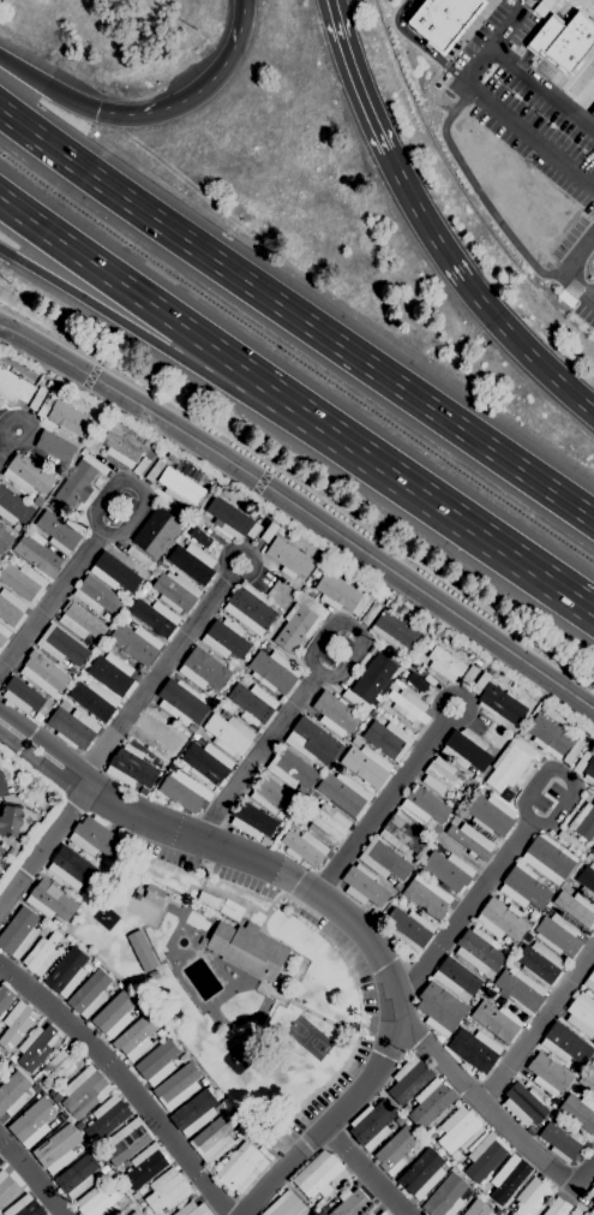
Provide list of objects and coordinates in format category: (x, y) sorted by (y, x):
road: (492, 1)
road: (571, 1)
road: (570, 2)
road: (521, 5)
road: (523, 5)
building: (541, 6)
road: (584, 13)
road: (544, 14)
building: (440, 19)
road: (470, 30)
road: (541, 35)
building: (562, 40)
road: (420, 43)
road: (521, 59)
road: (443, 64)
road: (552, 66)
road: (577, 66)
road: (352, 77)
road: (47, 85)
road: (197, 89)
road: (541, 91)
road: (581, 100)
road: (491, 109)
traffic signals: (97, 111)
building: (592, 112)
gas station: (592, 112)
road: (478, 195)
road: (565, 267)
road: (119, 282)
road: (473, 294)
road: (295, 315)
road: (115, 317)
building: (13, 388)
building: (36, 398)
building: (44, 405)
building: (70, 418)
road: (8, 443)
building: (152, 446)
building: (53, 448)
building: (120, 448)
building: (173, 457)
building: (140, 465)
building: (58, 470)
building: (154, 470)
building: (28, 474)
building: (79, 481)
road: (132, 486)
road: (416, 486)
building: (180, 487)
building: (13, 506)
building: (53, 506)
road: (301, 511)
building: (228, 518)
building: (17, 528)
road: (300, 529)
building: (60, 530)
building: (253, 530)
building: (280, 530)
building: (156, 531)
building: (269, 531)
building: (198, 536)
building: (5, 538)
building: (37, 553)
building: (139, 558)
building: (288, 558)
building: (192, 561)
building: (162, 565)
building: (119, 570)
building: (22, 580)
building: (175, 591)
building: (341, 594)
building: (97, 596)
road: (49, 602)
building: (248, 607)
building: (11, 608)
building: (370, 612)
building: (154, 617)
building: (80, 621)
building: (299, 621)
building: (392, 630)
building: (4, 633)
building: (226, 639)
building: (134, 642)
building: (61, 645)
building: (445, 663)
building: (203, 669)
road: (157, 671)
building: (272, 671)
building: (42, 672)
building: (112, 673)
building: (468, 675)
building: (373, 677)
building: (416, 681)
building: (480, 681)
road: (302, 691)
building: (22, 695)
building: (94, 698)
building: (181, 702)
building: (252, 702)
building: (500, 703)
building: (408, 704)
building: (373, 711)
building: (226, 713)
building: (335, 714)
building: (72, 726)
building: (191, 728)
building: (157, 733)
building: (229, 734)
building: (554, 737)
building: (388, 738)
building: (312, 741)
building: (355, 741)
building: (592, 741)
road: (44, 743)
building: (466, 750)
road: (40, 762)
building: (206, 762)
building: (511, 763)
building: (366, 766)
building: (131, 767)
building: (578, 767)
building: (292, 769)
building: (438, 775)
building: (5, 786)
building: (184, 791)
building: (344, 792)
building: (277, 796)
road: (385, 800)
building: (424, 805)
building: (491, 814)
building: (10, 818)
building: (252, 821)
building: (584, 821)
building: (326, 822)
building: (294, 824)
building: (402, 833)
building: (95, 838)
building: (470, 840)
building: (570, 841)
road: (43, 846)
road: (509, 846)
building: (304, 847)
building: (593, 847)
building: (1, 850)
building: (548, 858)
building: (383, 859)
building: (106, 862)
building: (73, 869)
building: (448, 870)
building: (587, 875)
building: (364, 886)
building: (523, 887)
building: (82, 892)
building: (154, 894)
building: (137, 895)
building: (426, 895)
building: (208, 899)
building: (50, 900)
building: (576, 907)
building: (500, 919)
building: (410, 927)
building: (18, 933)
building: (557, 935)
road: (371, 945)
building: (246, 949)
building: (142, 951)
building: (479, 951)
building: (41, 954)
building: (539, 963)
building: (66, 972)
building: (152, 975)
building: (456, 977)
building: (589, 981)
building: (280, 982)
building: (520, 990)
building: (89, 993)
building: (5, 999)
building: (439, 1008)
building: (115, 1011)
building: (582, 1014)
building: (497, 1020)
building: (16, 1024)
road: (538, 1024)
park: (308, 1037)
building: (133, 1038)
building: (593, 1042)
building: (565, 1044)
building: (36, 1047)
building: (475, 1049)
building: (1, 1059)
building: (157, 1059)
building: (59, 1067)
building: (575, 1068)
building: (548, 1074)
building: (408, 1079)
building: (587, 1080)
road: (122, 1083)
building: (176, 1086)
building: (84, 1091)
building: (13, 1092)
building: (56, 1097)
building: (554, 1101)
building: (430, 1102)
building: (524, 1104)
road: (486, 1107)
building: (406, 1109)
building: (578, 1110)
building: (193, 1113)
building: (552, 1115)
building: (107, 1118)
building: (400, 1120)
building: (31, 1122)
building: (373, 1125)
building: (458, 1130)
building: (530, 1130)
building: (437, 1131)
building: (212, 1136)
building: (562, 1139)
building: (127, 1140)
building: (436, 1146)
building: (56, 1149)
building: (396, 1150)
building: (485, 1156)
building: (0, 1161)
building: (145, 1165)
building: (458, 1166)
building: (103, 1168)
building: (241, 1168)
road: (365, 1172)
road: (586, 1173)
building: (319, 1174)
building: (421, 1174)
building: (77, 1177)
road: (30, 1178)
building: (508, 1179)
building: (6, 1187)
building: (167, 1190)
building: (592, 1191)
building: (127, 1193)
building: (445, 1196)
building: (532, 1196)
building: (98, 1201)
building: (350, 1203)
building: (319, 1204)
building: (286, 1205)
building: (24, 1207)
building: (557, 1207)
building: (476, 1208)
building: (192, 1209)
building: (592, 1211)
building: (133, 1213)
building: (382, 1213)
building: (120, 1214)
building: (370, 1214)

